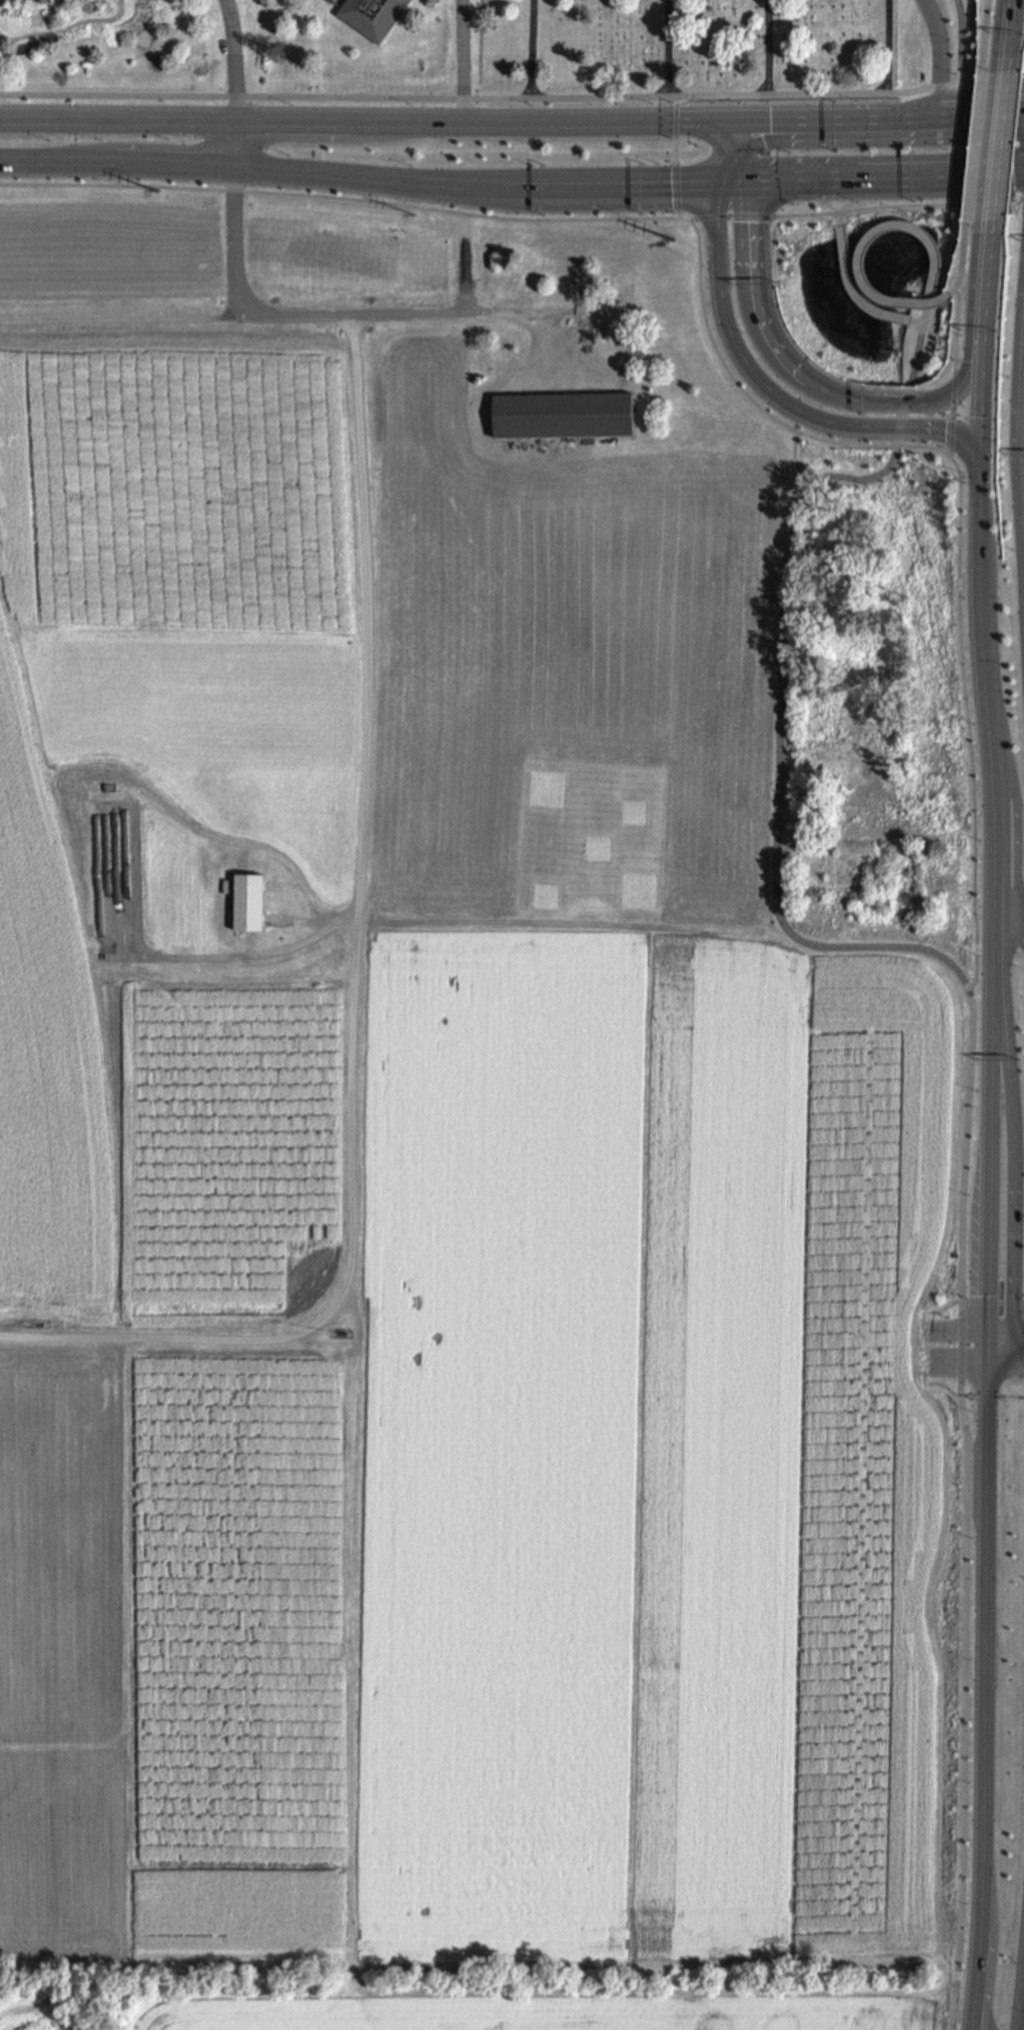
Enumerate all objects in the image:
building: (375, 17)
road: (1008, 27)
road: (988, 33)
road: (962, 39)
road: (767, 47)
road: (886, 47)
road: (668, 48)
road: (532, 50)
park: (687, 50)
road: (939, 54)
crop: (239, 55)
road: (463, 59)
road: (993, 77)
road: (236, 83)
road: (924, 87)
road: (265, 95)
road: (708, 95)
road: (877, 114)
traffic signals: (730, 119)
road: (232, 120)
road: (597, 120)
road: (998, 137)
road: (978, 143)
road: (739, 150)
road: (677, 156)
road: (175, 166)
road: (886, 176)
traffic signals: (749, 182)
traffic signals: (716, 183)
road: (549, 185)
power tower: (99, 187)
road: (854, 195)
road: (1022, 196)
road: (822, 197)
power tower: (963, 200)
road: (386, 201)
road: (896, 207)
power tower: (264, 215)
road: (839, 222)
power tower: (408, 228)
road: (234, 242)
power tower: (664, 245)
road: (864, 251)
road: (965, 254)
road: (855, 290)
road: (988, 298)
road: (926, 315)
road: (183, 319)
road: (960, 329)
road: (714, 340)
road: (917, 353)
road: (752, 369)
road: (797, 371)
road: (955, 412)
building: (642, 415)
building: (564, 416)
road: (984, 416)
building: (483, 422)
road: (797, 458)
traffic signals: (986, 458)
road: (860, 478)
road: (962, 642)
road: (361, 886)
road: (1004, 892)
building: (251, 903)
road: (1014, 922)
road: (815, 944)
crop: (472, 1140)
road: (1017, 1173)
road: (993, 1301)
traffic signals: (991, 1328)
road: (1005, 1328)
traffic signals: (1019, 1328)
road: (1021, 1328)
road: (1021, 1330)
road: (990, 1345)
road: (1007, 1362)
traffic signals: (990, 1363)
road: (962, 1666)
road: (985, 1696)
road: (1021, 1991)

